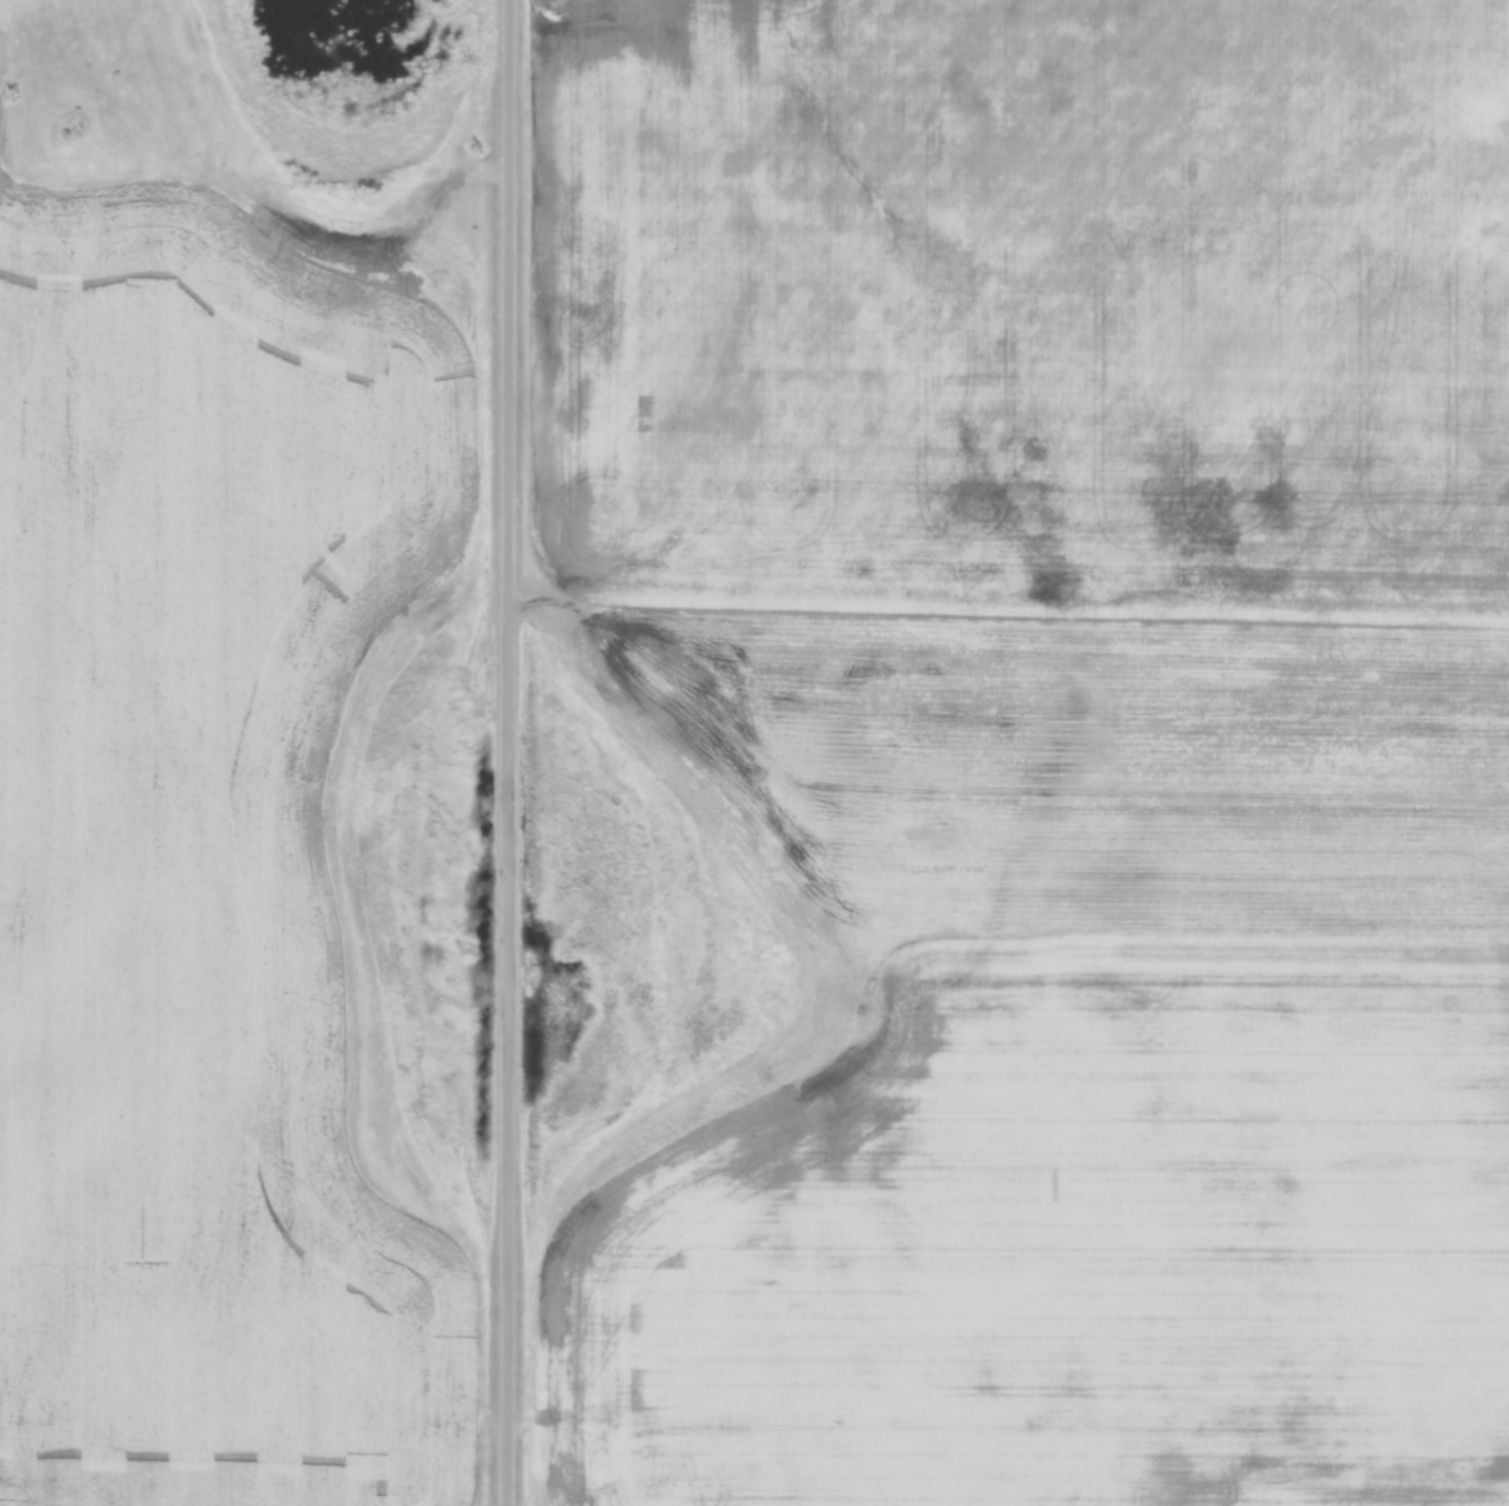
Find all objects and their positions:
road: (513, 753)

